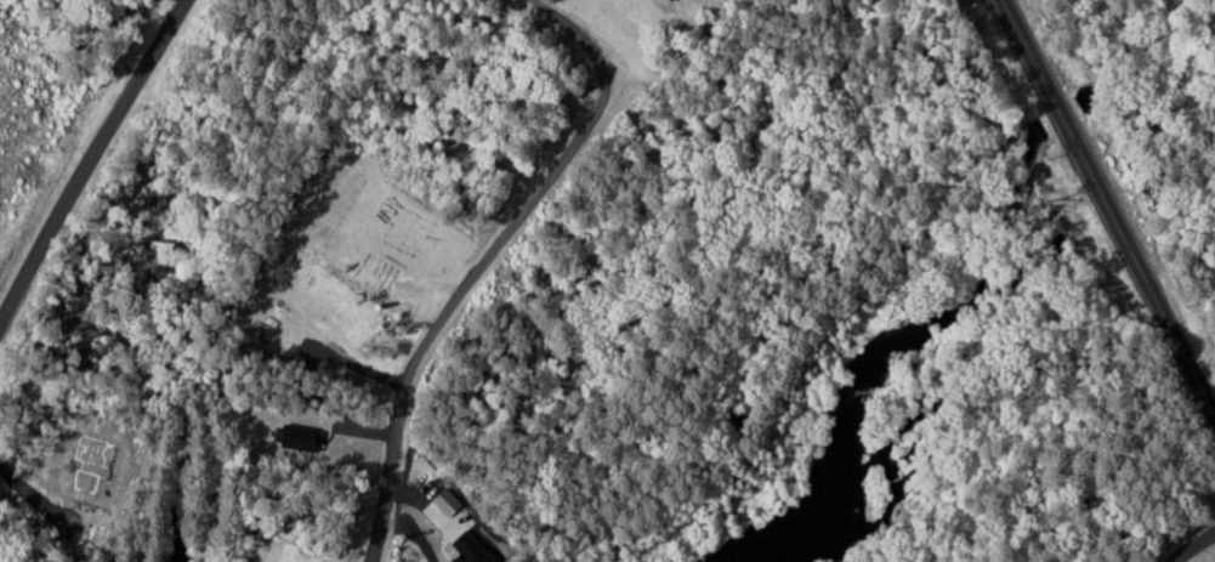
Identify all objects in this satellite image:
road: (89, 160)
road: (1107, 208)
road: (492, 267)
road: (1192, 545)

